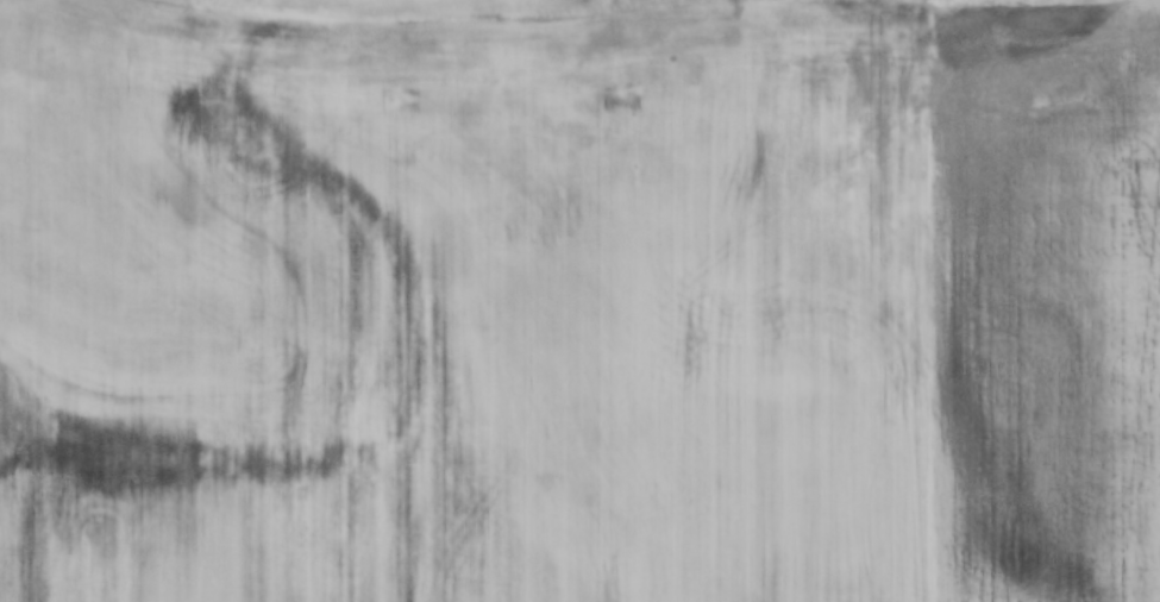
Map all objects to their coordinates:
road: (942, 300)

